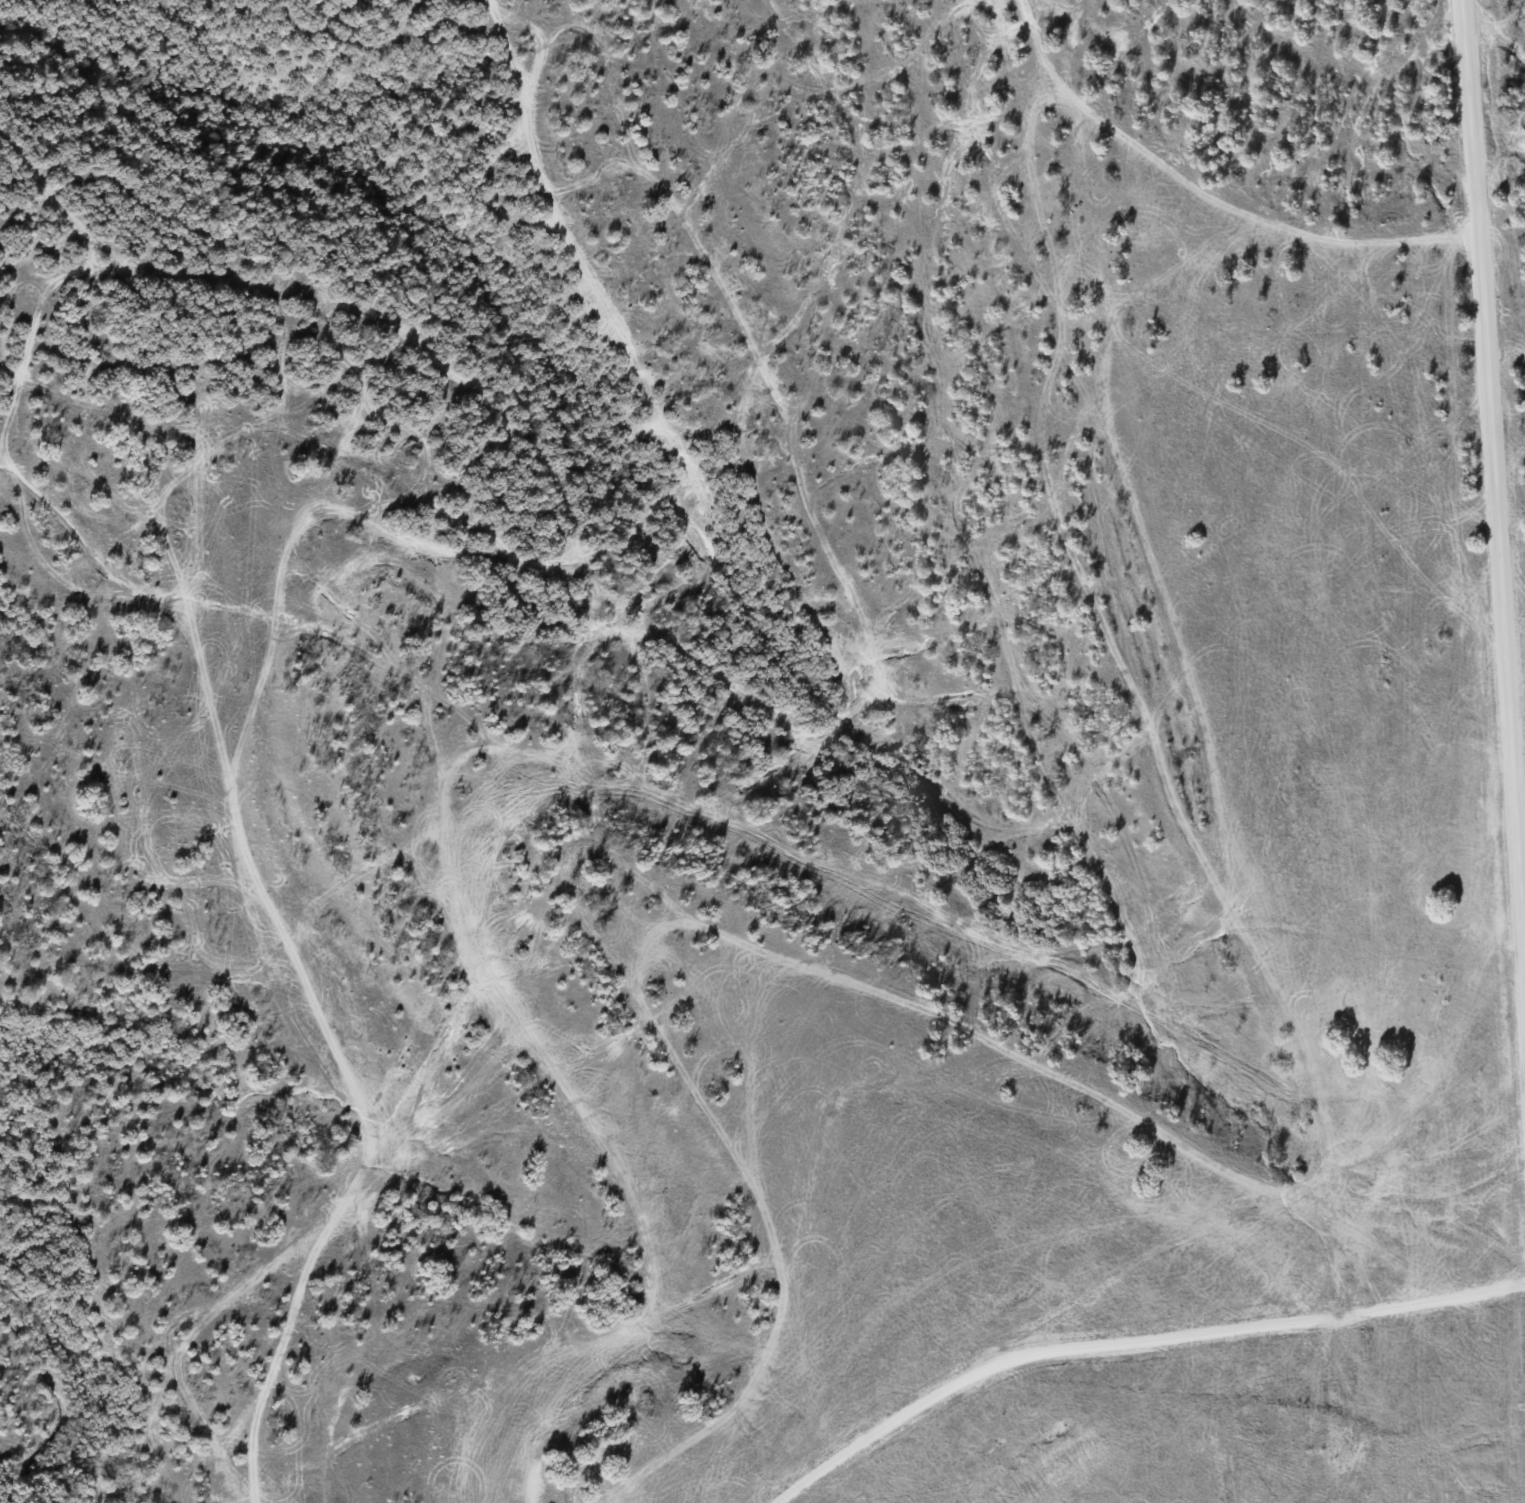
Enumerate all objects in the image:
road: (1491, 441)

